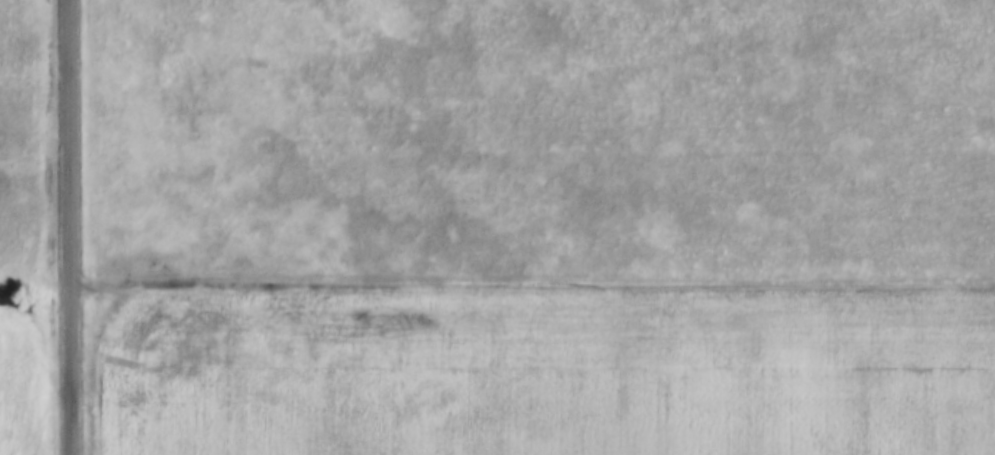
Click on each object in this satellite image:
road: (68, 227)
road: (532, 289)
road: (34, 291)

